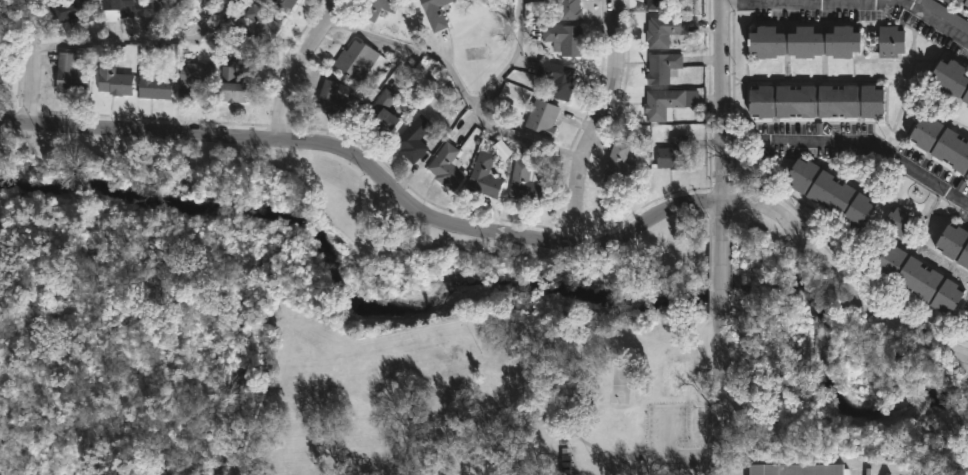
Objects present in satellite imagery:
building: (948, 0)
building: (965, 1)
building: (195, 2)
road: (851, 2)
building: (167, 3)
building: (286, 4)
building: (657, 4)
building: (378, 7)
building: (116, 9)
building: (569, 9)
building: (967, 9)
building: (70, 13)
building: (435, 13)
building: (967, 13)
building: (262, 24)
building: (663, 30)
building: (564, 38)
road: (138, 39)
building: (889, 39)
building: (804, 40)
road: (402, 44)
road: (33, 60)
building: (356, 60)
road: (279, 67)
building: (662, 67)
building: (71, 76)
building: (194, 76)
building: (112, 77)
building: (557, 77)
building: (951, 78)
building: (153, 79)
building: (238, 83)
building: (333, 98)
building: (814, 99)
building: (662, 104)
road: (473, 106)
building: (383, 110)
building: (542, 117)
road: (725, 120)
road: (596, 121)
building: (414, 138)
road: (855, 141)
building: (941, 141)
building: (674, 153)
building: (621, 164)
building: (447, 167)
building: (486, 170)
building: (526, 183)
building: (830, 191)
building: (897, 220)
road: (503, 233)
building: (954, 242)
road: (721, 278)
building: (920, 278)
road: (726, 395)
park: (485, 399)
road: (684, 457)
building: (797, 469)

